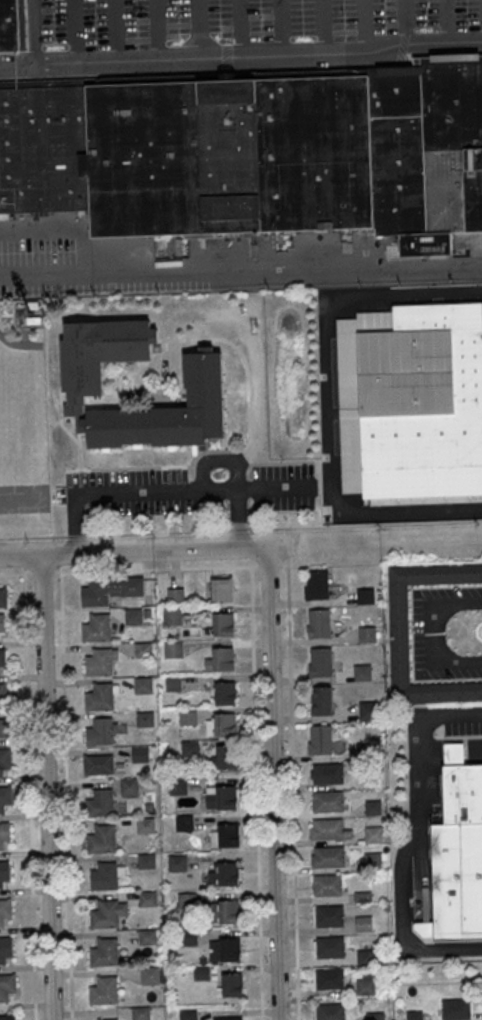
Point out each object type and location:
street lamp: (425, 10)
street lamp: (344, 13)
street lamp: (260, 16)
street lamp: (178, 18)
street lamp: (95, 21)
road: (445, 22)
road: (406, 23)
road: (366, 24)
building: (9, 26)
road: (322, 26)
road: (240, 27)
parking lot: (245, 27)
road: (281, 27)
road: (197, 28)
road: (156, 29)
road: (76, 30)
road: (115, 30)
road: (35, 31)
road: (241, 54)
building: (254, 152)
parking lot: (59, 259)
road: (338, 267)
road: (97, 278)
building: (99, 354)
road: (254, 374)
road: (327, 396)
building: (411, 401)
building: (167, 412)
park: (23, 422)
road: (66, 430)
park: (3, 431)
road: (241, 448)
road: (272, 462)
road: (237, 471)
road: (189, 473)
road: (178, 474)
road: (201, 475)
road: (147, 476)
road: (70, 478)
road: (82, 478)
road: (190, 480)
road: (179, 487)
road: (275, 487)
parking lot: (282, 487)
road: (148, 488)
road: (247, 488)
road: (191, 490)
road: (70, 491)
road: (82, 491)
parking lot: (139, 491)
road: (152, 492)
park: (25, 499)
road: (193, 506)
road: (247, 513)
road: (238, 518)
road: (75, 525)
road: (364, 525)
road: (238, 530)
road: (157, 533)
road: (76, 536)
road: (33, 537)
street lamp: (28, 541)
road: (24, 542)
road: (125, 552)
road: (24, 557)
road: (269, 565)
road: (283, 565)
road: (156, 569)
road: (16, 574)
road: (43, 574)
building: (315, 584)
building: (222, 589)
building: (109, 590)
building: (175, 595)
building: (364, 596)
building: (3, 597)
building: (134, 616)
building: (172, 616)
building: (2, 623)
building: (317, 623)
building: (223, 624)
building: (96, 628)
building: (397, 633)
building: (366, 634)
road: (426, 635)
parking lot: (420, 636)
building: (173, 649)
building: (143, 650)
building: (2, 657)
building: (223, 658)
building: (99, 661)
building: (319, 662)
building: (361, 673)
building: (172, 683)
building: (143, 685)
building: (3, 692)
building: (225, 693)
building: (99, 697)
building: (320, 701)
building: (368, 711)
building: (187, 717)
building: (145, 719)
building: (225, 724)
parking lot: (462, 726)
building: (4, 728)
building: (99, 732)
building: (318, 740)
building: (190, 748)
building: (369, 751)
building: (140, 754)
building: (226, 757)
building: (4, 759)
building: (98, 764)
building: (326, 773)
road: (292, 774)
road: (273, 778)
building: (129, 785)
building: (177, 786)
road: (48, 787)
road: (29, 793)
road: (256, 793)
building: (465, 795)
road: (66, 796)
building: (5, 797)
building: (226, 797)
building: (327, 802)
building: (99, 803)
building: (372, 807)
building: (183, 823)
building: (327, 829)
building: (4, 833)
building: (229, 835)
building: (372, 835)
building: (101, 839)
road: (407, 839)
building: (327, 857)
building: (146, 861)
building: (177, 862)
building: (371, 862)
building: (4, 871)
building: (228, 873)
building: (104, 875)
building: (456, 885)
building: (326, 886)
building: (361, 897)
building: (147, 899)
building: (186, 900)
building: (4, 909)
building: (229, 910)
building: (104, 914)
building: (327, 916)
building: (362, 925)
building: (187, 937)
building: (6, 948)
building: (328, 948)
building: (229, 949)
building: (104, 952)
building: (363, 958)
building: (200, 972)
building: (150, 976)
building: (327, 979)
building: (232, 984)
building: (7, 986)
building: (364, 986)
building: (104, 990)
building: (456, 1009)
building: (329, 1011)
building: (141, 1013)
building: (188, 1014)
building: (414, 1015)
building: (374, 1016)
building: (7, 1017)
building: (228, 1018)
building: (110, 1019)

